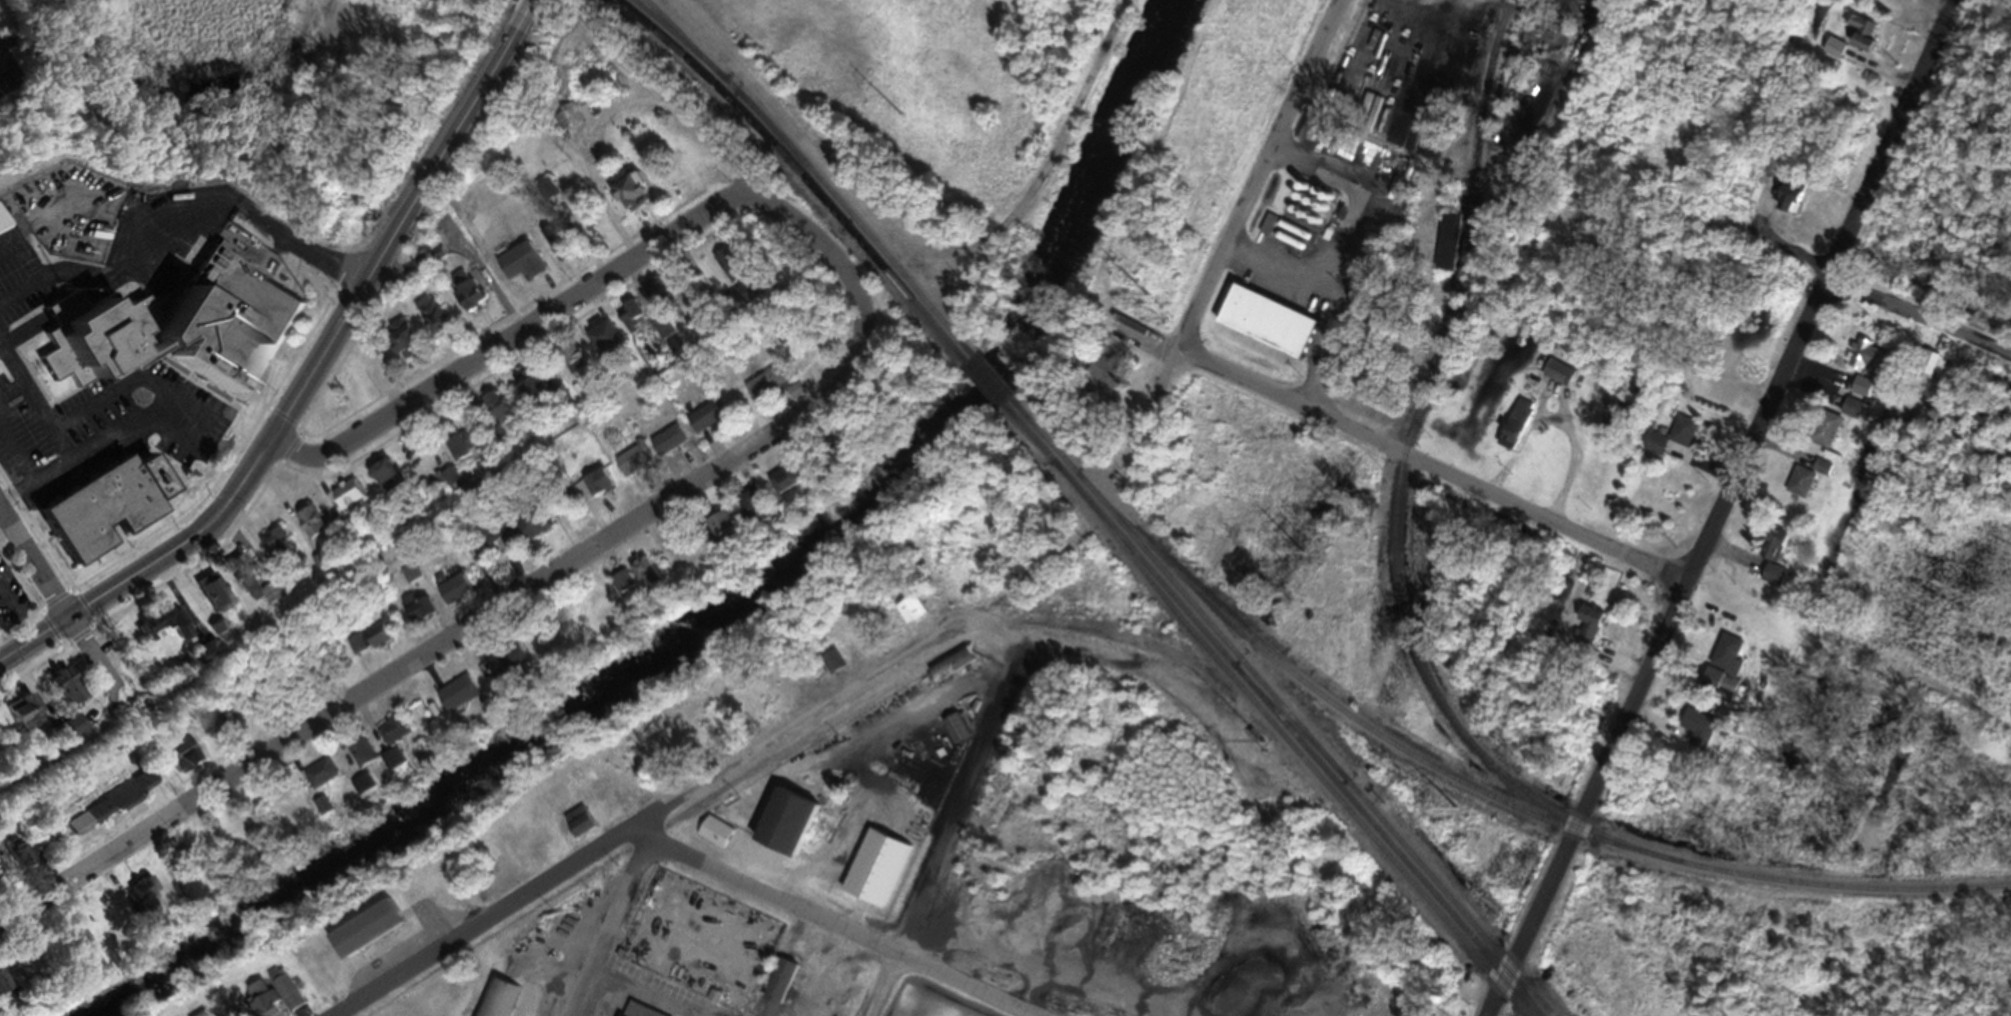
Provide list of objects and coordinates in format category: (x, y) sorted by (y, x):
building: (1882, 1)
road: (529, 12)
road: (606, 40)
building: (1864, 42)
railway: (681, 43)
railway: (682, 47)
building: (1834, 53)
road: (7, 73)
road: (1069, 100)
railway: (733, 107)
power tower: (902, 121)
building: (567, 122)
road: (705, 134)
railway: (793, 162)
building: (546, 196)
building: (626, 197)
building: (1307, 210)
building: (1791, 210)
road: (1242, 212)
road: (179, 216)
road: (998, 225)
railway: (858, 229)
building: (1281, 234)
building: (0, 235)
road: (298, 245)
building: (557, 248)
road: (8, 254)
road: (116, 262)
building: (1444, 263)
building: (508, 275)
road: (48, 282)
building: (464, 296)
building: (656, 296)
railway: (906, 301)
power tower: (1146, 301)
road: (1919, 317)
building: (627, 320)
building: (433, 323)
building: (189, 324)
building: (1263, 327)
road: (16, 340)
building: (601, 340)
road: (513, 341)
building: (403, 347)
building: (570, 361)
building: (1870, 365)
building: (1927, 368)
building: (1558, 379)
railway: (992, 384)
building: (1102, 384)
road: (307, 385)
building: (763, 391)
road: (11, 392)
railway: (985, 392)
building: (526, 393)
building: (554, 402)
road: (35, 405)
building: (494, 414)
building: (702, 422)
building: (1834, 430)
road: (182, 441)
road: (1571, 441)
building: (1671, 444)
building: (664, 447)
building: (459, 450)
road: (1395, 456)
road: (18, 457)
building: (632, 470)
building: (381, 482)
building: (1802, 487)
building: (784, 489)
building: (588, 492)
building: (343, 502)
building: (116, 504)
road: (1722, 508)
building: (751, 512)
road: (5, 529)
building: (306, 529)
building: (719, 531)
railway: (1122, 545)
building: (269, 547)
building: (503, 550)
road: (825, 558)
power tower: (1300, 559)
road: (33, 562)
building: (644, 580)
building: (238, 583)
road: (527, 590)
building: (452, 595)
railway: (1180, 597)
building: (207, 599)
building: (415, 614)
building: (909, 615)
building: (156, 628)
building: (1586, 631)
building: (211, 633)
building: (367, 644)
railway: (1418, 661)
building: (509, 665)
building: (831, 668)
building: (949, 672)
building: (57, 694)
building: (1726, 695)
building: (456, 699)
building: (12, 714)
railway: (1343, 717)
building: (61, 731)
building: (1697, 732)
building: (955, 733)
building: (406, 735)
railway: (1294, 735)
road: (982, 742)
railway: (1287, 748)
building: (360, 761)
building: (185, 766)
road: (697, 790)
building: (107, 808)
power tower: (1455, 814)
building: (577, 828)
building: (785, 833)
building: (713, 838)
railway: (1386, 847)
building: (16, 860)
park: (1150, 893)
building: (136, 901)
railway: (1448, 903)
road: (610, 926)
road: (850, 930)
building: (363, 935)
building: (68, 946)
building: (778, 989)
building: (283, 995)
building: (498, 1002)
road: (357, 1007)
building: (262, 1009)
building: (631, 1012)

